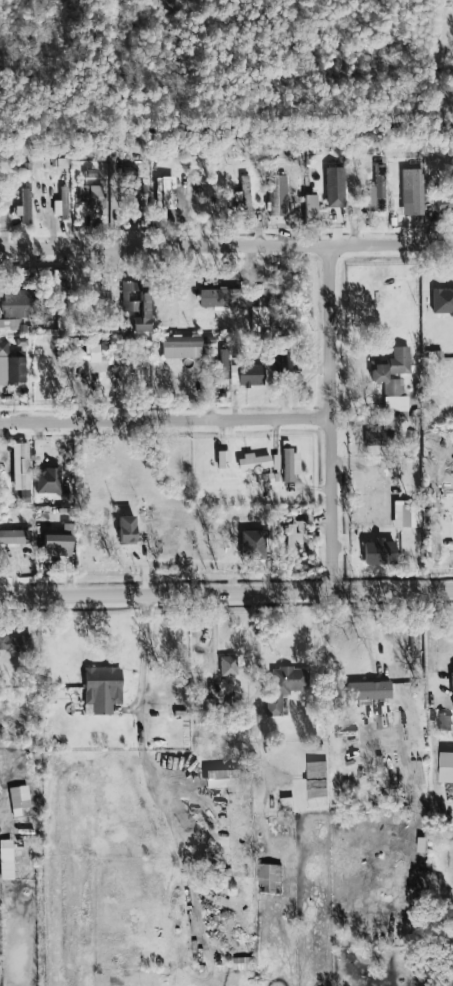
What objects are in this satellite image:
building: (335, 187)
building: (377, 190)
building: (412, 191)
building: (132, 193)
building: (244, 193)
building: (278, 195)
building: (91, 196)
building: (163, 199)
building: (60, 203)
building: (25, 206)
building: (310, 207)
road: (226, 245)
building: (60, 285)
building: (219, 297)
building: (442, 300)
building: (136, 305)
building: (260, 310)
building: (181, 347)
building: (95, 358)
building: (223, 363)
building: (281, 363)
building: (11, 365)
road: (336, 381)
building: (393, 381)
road: (169, 419)
building: (379, 437)
building: (222, 459)
building: (253, 461)
building: (275, 461)
building: (290, 464)
building: (20, 466)
building: (264, 479)
building: (48, 480)
building: (406, 515)
building: (126, 529)
building: (14, 536)
building: (432, 537)
building: (292, 540)
building: (253, 544)
building: (57, 545)
building: (379, 552)
road: (226, 592)
building: (14, 643)
road: (385, 653)
building: (228, 665)
building: (285, 687)
building: (102, 689)
building: (369, 689)
building: (445, 722)
road: (143, 763)
building: (446, 767)
building: (223, 779)
building: (316, 779)
building: (19, 798)
building: (6, 859)
building: (270, 878)

